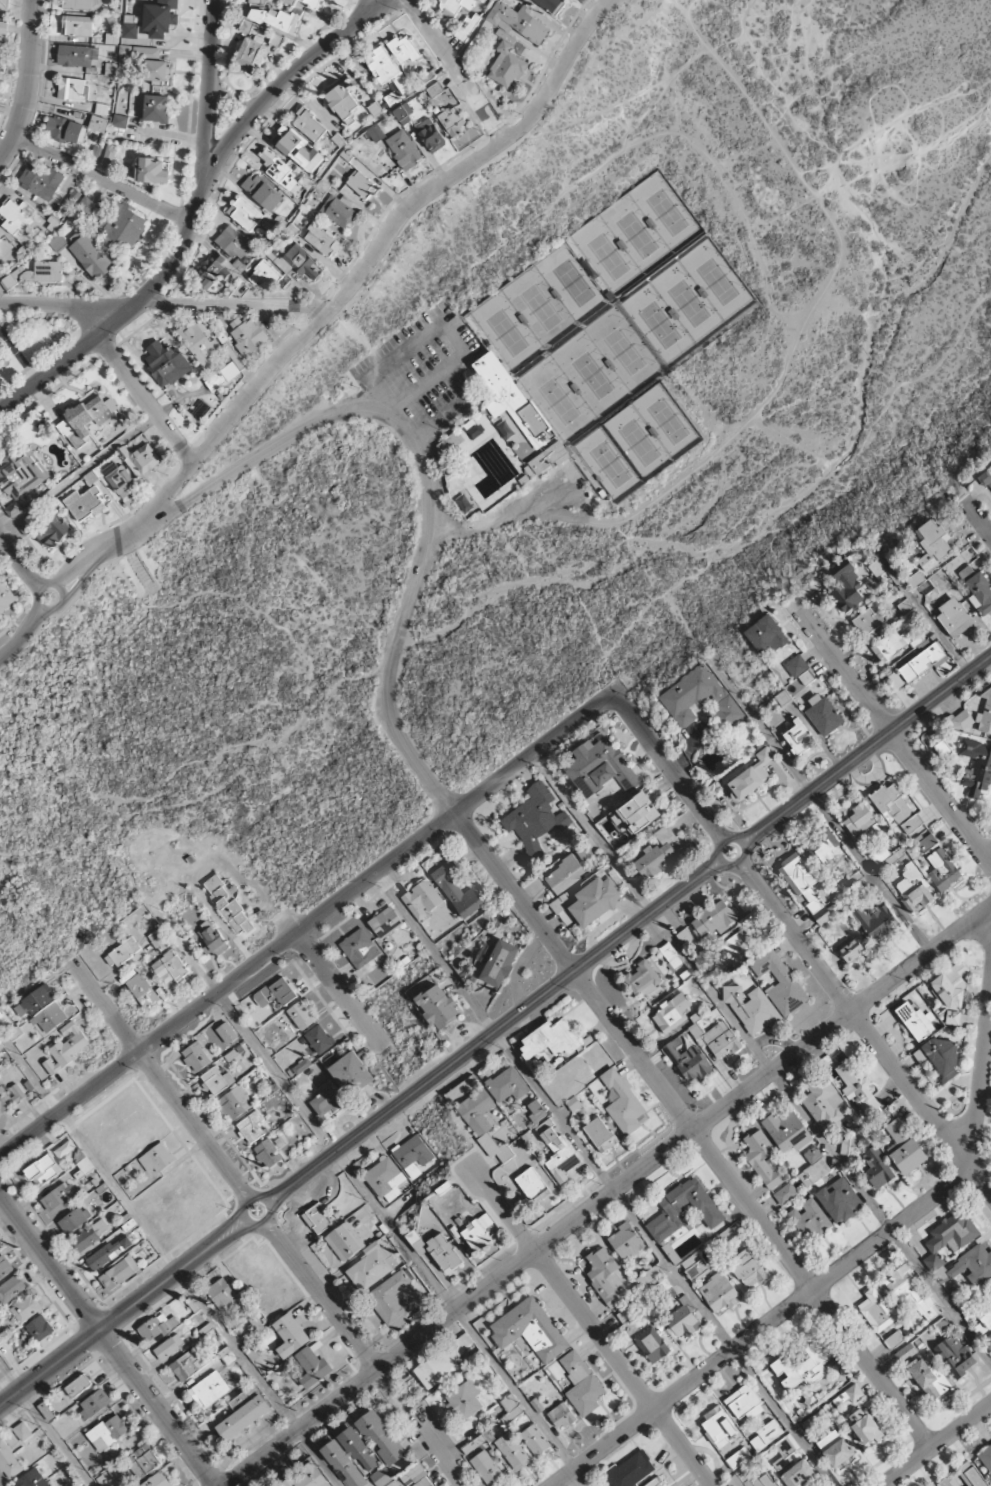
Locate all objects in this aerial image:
building: (257, 0)
building: (3, 2)
building: (313, 2)
building: (78, 4)
road: (364, 4)
road: (368, 4)
building: (551, 5)
building: (454, 6)
road: (680, 9)
building: (161, 18)
building: (275, 19)
road: (691, 24)
building: (247, 25)
building: (78, 26)
building: (130, 26)
building: (3, 27)
building: (276, 39)
building: (512, 40)
building: (403, 49)
building: (252, 54)
building: (77, 55)
road: (547, 61)
building: (386, 68)
road: (456, 70)
building: (158, 71)
road: (29, 84)
building: (73, 89)
road: (276, 90)
road: (230, 99)
building: (342, 103)
building: (101, 108)
building: (156, 108)
road: (603, 109)
building: (453, 120)
building: (120, 121)
building: (98, 123)
building: (309, 124)
road: (891, 124)
road: (515, 127)
building: (64, 129)
road: (492, 129)
building: (375, 133)
building: (431, 136)
road: (930, 148)
building: (298, 149)
building: (404, 149)
building: (109, 156)
building: (278, 169)
building: (153, 171)
road: (871, 172)
road: (104, 179)
building: (40, 180)
road: (577, 183)
building: (262, 192)
road: (389, 206)
road: (734, 206)
building: (85, 208)
building: (337, 211)
building: (245, 214)
building: (15, 215)
building: (123, 227)
building: (322, 239)
building: (0, 240)
road: (179, 242)
building: (233, 243)
building: (91, 257)
building: (301, 262)
road: (369, 266)
building: (212, 271)
building: (35, 274)
building: (263, 275)
road: (70, 305)
road: (235, 305)
road: (312, 306)
road: (451, 322)
road: (444, 328)
park: (616, 329)
building: (249, 337)
building: (198, 341)
building: (0, 348)
road: (784, 350)
building: (166, 363)
parking lot: (425, 369)
road: (926, 375)
building: (222, 377)
road: (245, 377)
road: (145, 399)
building: (512, 399)
road: (455, 407)
building: (202, 410)
building: (86, 419)
road: (811, 449)
building: (525, 451)
road: (182, 452)
park: (529, 456)
building: (140, 459)
building: (546, 460)
building: (22, 474)
road: (79, 474)
building: (119, 478)
road: (423, 479)
building: (985, 479)
building: (85, 503)
building: (13, 509)
road: (498, 518)
road: (978, 519)
road: (110, 523)
building: (53, 532)
building: (932, 543)
road: (13, 554)
road: (87, 557)
road: (91, 567)
building: (877, 569)
road: (31, 578)
road: (38, 579)
building: (915, 579)
road: (29, 585)
road: (40, 586)
building: (847, 586)
building: (924, 588)
building: (977, 589)
building: (5, 596)
road: (19, 611)
road: (640, 613)
road: (925, 616)
building: (954, 616)
road: (27, 619)
building: (867, 621)
road: (35, 624)
building: (766, 634)
building: (893, 643)
road: (8, 649)
building: (922, 662)
building: (796, 666)
road: (598, 677)
building: (699, 698)
building: (824, 714)
building: (985, 716)
road: (889, 732)
building: (798, 739)
road: (867, 751)
building: (599, 767)
building: (976, 767)
road: (671, 768)
building: (751, 776)
road: (818, 801)
building: (891, 804)
building: (636, 814)
building: (535, 819)
building: (862, 821)
building: (911, 824)
road: (735, 838)
building: (926, 842)
building: (822, 848)
building: (584, 852)
building: (660, 852)
building: (887, 857)
building: (942, 870)
building: (564, 874)
building: (852, 885)
building: (805, 886)
building: (457, 889)
building: (914, 889)
building: (422, 899)
building: (596, 900)
building: (228, 904)
building: (714, 919)
building: (876, 921)
building: (385, 922)
road: (307, 925)
building: (158, 936)
building: (211, 939)
building: (738, 944)
building: (359, 948)
building: (851, 950)
building: (122, 952)
building: (500, 963)
building: (170, 965)
building: (643, 978)
building: (780, 982)
building: (142, 990)
building: (283, 991)
road: (343, 991)
building: (951, 991)
building: (35, 1001)
building: (438, 1006)
road: (528, 1006)
building: (752, 1009)
building: (672, 1013)
building: (301, 1015)
building: (50, 1018)
road: (239, 1021)
building: (915, 1021)
road: (865, 1029)
building: (227, 1033)
building: (319, 1039)
building: (550, 1039)
building: (722, 1040)
building: (67, 1047)
building: (196, 1056)
building: (942, 1056)
road: (763, 1059)
building: (688, 1061)
building: (301, 1066)
building: (351, 1073)
road: (159, 1078)
building: (216, 1080)
building: (507, 1084)
building: (857, 1086)
building: (17, 1092)
building: (327, 1099)
building: (4, 1100)
building: (824, 1102)
building: (235, 1103)
building: (623, 1103)
building: (535, 1111)
building: (478, 1112)
building: (251, 1127)
road: (694, 1130)
building: (787, 1131)
building: (600, 1134)
building: (495, 1148)
building: (904, 1148)
building: (557, 1151)
building: (267, 1153)
building: (413, 1155)
building: (156, 1158)
building: (761, 1158)
building: (814, 1168)
building: (877, 1168)
building: (44, 1170)
road: (301, 1176)
building: (385, 1179)
road: (605, 1179)
building: (532, 1185)
building: (785, 1193)
road: (606, 1195)
road: (261, 1197)
building: (59, 1199)
building: (840, 1200)
building: (685, 1210)
building: (809, 1218)
building: (317, 1219)
building: (74, 1220)
building: (487, 1223)
building: (90, 1235)
building: (476, 1236)
building: (727, 1236)
building: (950, 1237)
building: (625, 1241)
building: (345, 1242)
building: (437, 1249)
building: (109, 1252)
road: (168, 1259)
building: (972, 1265)
building: (371, 1266)
building: (5, 1267)
building: (695, 1268)
building: (747, 1269)
road: (837, 1271)
building: (119, 1273)
building: (649, 1276)
building: (606, 1277)
building: (11, 1289)
building: (718, 1292)
building: (222, 1294)
road: (321, 1294)
building: (910, 1294)
building: (390, 1298)
building: (26, 1308)
building: (877, 1311)
road: (123, 1313)
road: (460, 1318)
building: (399, 1322)
road: (590, 1322)
building: (159, 1327)
building: (254, 1327)
building: (39, 1328)
building: (530, 1330)
building: (984, 1330)
building: (291, 1334)
building: (894, 1339)
road: (107, 1341)
building: (652, 1345)
building: (169, 1347)
building: (906, 1351)
building: (227, 1356)
building: (954, 1356)
building: (442, 1363)
building: (189, 1364)
building: (312, 1367)
building: (803, 1368)
building: (929, 1378)
building: (582, 1383)
building: (78, 1385)
building: (209, 1389)
building: (854, 1393)
building: (841, 1398)
building: (464, 1400)
building: (95, 1403)
building: (744, 1403)
building: (511, 1407)
building: (562, 1416)
building: (243, 1417)
road: (44, 1426)
building: (718, 1426)
building: (864, 1426)
building: (22, 1431)
building: (109, 1432)
building: (766, 1434)
building: (381, 1438)
building: (535, 1439)
building: (477, 1442)
building: (729, 1445)
road: (937, 1445)
building: (836, 1449)
building: (359, 1450)
road: (438, 1450)
building: (512, 1451)
building: (785, 1453)
building: (738, 1458)
building: (986, 1458)
building: (9, 1461)
building: (142, 1461)
building: (343, 1464)
building: (488, 1469)
building: (631, 1470)
building: (800, 1475)
building: (307, 1477)
building: (381, 1477)
building: (416, 1477)
building: (963, 1477)
building: (751, 1478)
building: (31, 1479)
building: (106, 1479)
building: (157, 1481)
building: (655, 1482)
building: (277, 1485)

